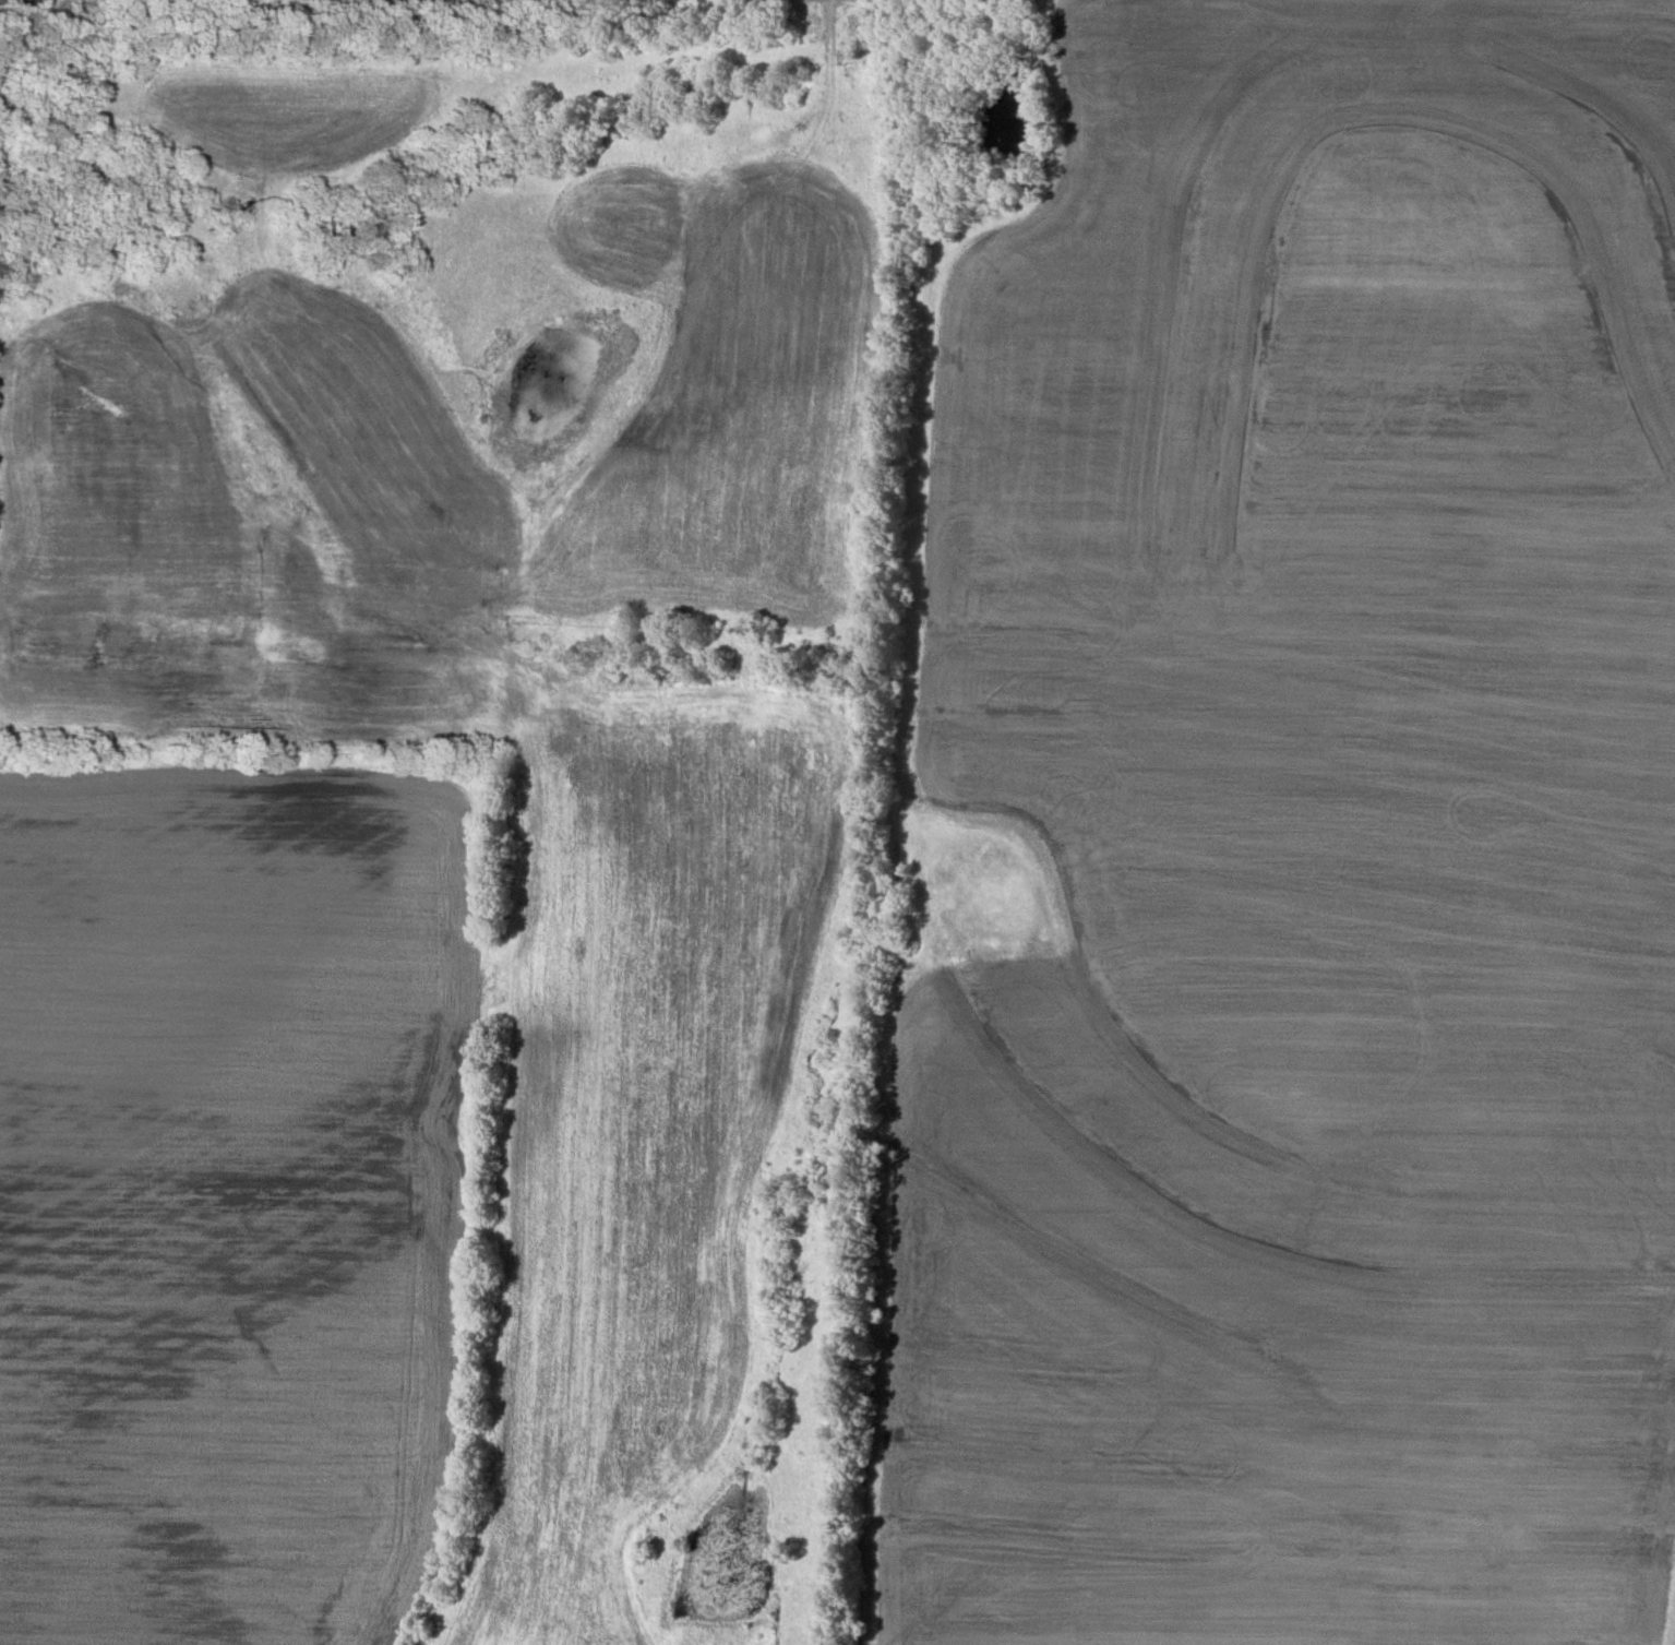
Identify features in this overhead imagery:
crop: (578, 1)
crop: (1296, 851)
crop: (229, 1197)
road: (572, 1319)

